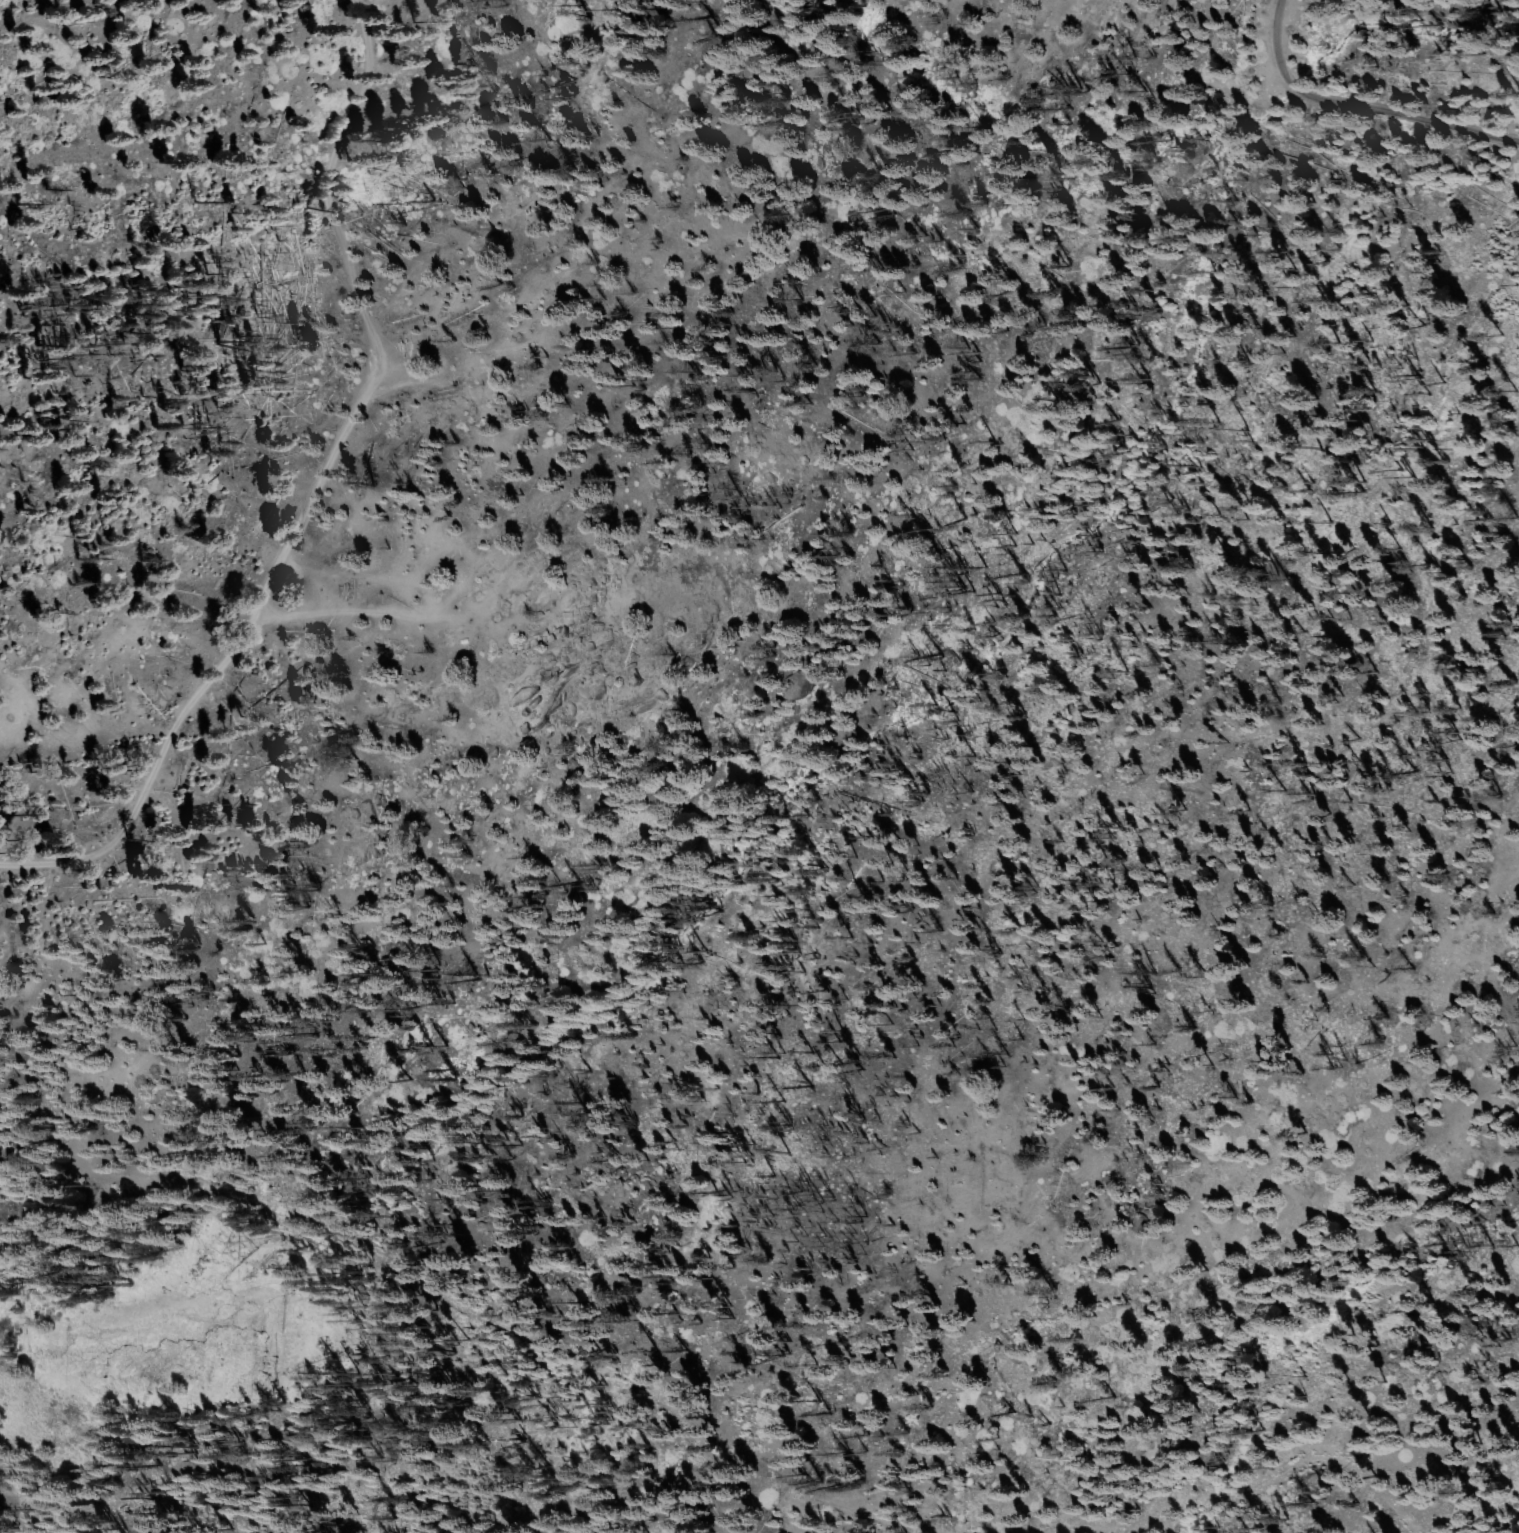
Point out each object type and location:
road: (1359, 112)
building: (789, 461)
road: (315, 492)
road: (363, 1261)
road: (1296, 1487)

